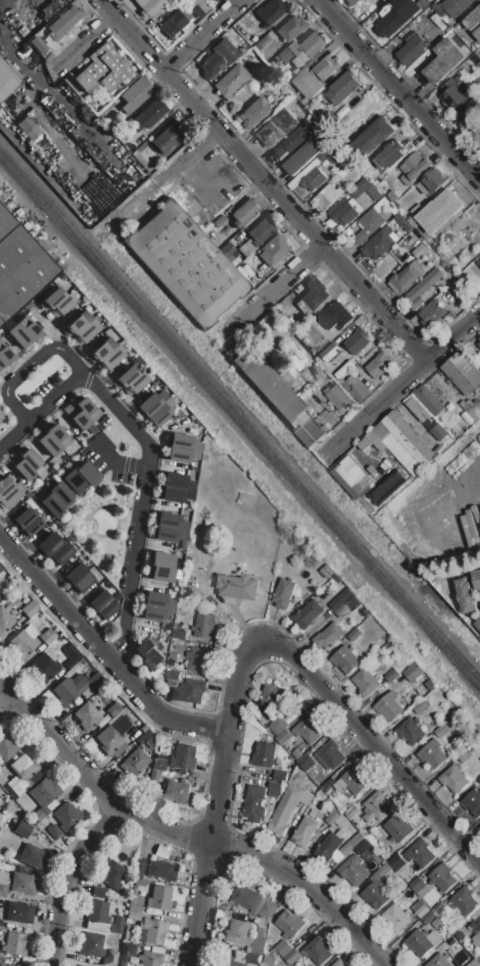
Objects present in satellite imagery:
building: (353, 2)
building: (455, 6)
building: (149, 7)
building: (198, 7)
building: (270, 12)
building: (473, 18)
building: (387, 21)
building: (64, 22)
building: (175, 22)
building: (290, 29)
building: (477, 33)
road: (204, 35)
road: (94, 39)
building: (263, 41)
building: (312, 43)
building: (412, 50)
building: (444, 60)
building: (211, 66)
building: (325, 68)
building: (103, 70)
building: (231, 80)
building: (7, 81)
building: (308, 83)
building: (343, 87)
road: (399, 88)
building: (453, 94)
building: (135, 95)
building: (471, 111)
building: (152, 113)
building: (255, 113)
building: (29, 127)
building: (278, 128)
building: (477, 135)
building: (168, 137)
building: (372, 137)
building: (292, 142)
building: (329, 154)
building: (390, 155)
building: (302, 157)
building: (416, 165)
road: (166, 178)
building: (312, 179)
road: (263, 180)
building: (431, 181)
building: (359, 188)
building: (392, 195)
building: (326, 196)
building: (440, 211)
building: (244, 212)
building: (342, 212)
building: (218, 222)
building: (405, 223)
building: (369, 224)
building: (261, 230)
building: (378, 243)
building: (397, 250)
building: (420, 250)
building: (272, 251)
building: (228, 252)
building: (478, 261)
building: (185, 262)
building: (20, 267)
building: (406, 277)
building: (422, 288)
road: (277, 289)
building: (314, 293)
building: (57, 302)
building: (432, 313)
building: (334, 316)
building: (82, 328)
building: (25, 332)
building: (479, 338)
building: (356, 341)
building: (479, 344)
building: (331, 350)
building: (106, 354)
building: (6, 358)
building: (323, 362)
building: (375, 362)
road: (29, 365)
railway: (191, 366)
building: (344, 369)
building: (296, 371)
building: (462, 372)
building: (130, 380)
road: (404, 382)
building: (354, 388)
building: (476, 393)
building: (278, 396)
building: (339, 398)
building: (428, 399)
road: (53, 400)
building: (417, 407)
building: (472, 409)
building: (151, 410)
building: (80, 413)
building: (1, 417)
building: (467, 421)
building: (430, 422)
building: (458, 429)
building: (439, 432)
road: (12, 434)
building: (412, 435)
building: (52, 438)
building: (368, 441)
building: (406, 441)
building: (380, 445)
building: (180, 448)
building: (397, 448)
road: (115, 462)
building: (26, 463)
building: (351, 477)
building: (81, 478)
building: (388, 487)
building: (175, 489)
building: (8, 494)
building: (57, 500)
building: (245, 500)
road: (139, 513)
building: (27, 523)
building: (205, 524)
building: (169, 526)
building: (183, 545)
building: (54, 550)
building: (160, 567)
building: (77, 579)
building: (477, 580)
building: (238, 586)
building: (284, 594)
building: (0, 595)
building: (466, 596)
building: (339, 600)
building: (102, 605)
building: (155, 606)
building: (30, 610)
building: (340, 610)
building: (308, 613)
building: (5, 620)
building: (478, 625)
building: (205, 626)
building: (154, 629)
railway: (431, 632)
building: (179, 634)
building: (354, 634)
building: (329, 635)
building: (48, 637)
building: (24, 642)
building: (174, 649)
road: (103, 654)
building: (148, 654)
building: (70, 655)
building: (174, 655)
building: (345, 658)
building: (198, 659)
building: (44, 667)
building: (412, 671)
building: (172, 675)
building: (391, 675)
building: (365, 682)
building: (77, 687)
building: (189, 691)
building: (275, 696)
road: (3, 698)
building: (389, 706)
building: (419, 707)
building: (113, 709)
building: (87, 716)
building: (269, 718)
building: (278, 725)
building: (143, 728)
building: (309, 729)
building: (410, 730)
building: (441, 730)
building: (113, 737)
building: (285, 738)
road: (373, 746)
building: (6, 747)
building: (432, 753)
building: (265, 754)
building: (463, 754)
building: (331, 755)
building: (182, 757)
building: (134, 762)
building: (158, 763)
building: (22, 776)
building: (280, 776)
building: (153, 777)
building: (454, 778)
building: (2, 779)
building: (355, 780)
building: (478, 780)
building: (274, 789)
building: (177, 791)
building: (44, 798)
road: (217, 798)
building: (472, 802)
building: (255, 803)
building: (376, 806)
building: (288, 807)
building: (352, 811)
building: (67, 816)
building: (332, 817)
building: (340, 819)
building: (397, 827)
building: (23, 829)
building: (54, 832)
building: (305, 832)
road: (187, 835)
building: (351, 845)
building: (328, 847)
building: (420, 853)
building: (32, 857)
building: (396, 861)
building: (139, 869)
building: (354, 870)
building: (161, 871)
building: (111, 875)
building: (442, 877)
road: (66, 879)
building: (24, 884)
building: (139, 884)
building: (420, 887)
building: (377, 888)
building: (3, 889)
building: (98, 892)
building: (160, 898)
building: (252, 901)
building: (464, 901)
building: (136, 903)
building: (420, 908)
building: (97, 912)
building: (20, 913)
building: (133, 916)
building: (396, 916)
building: (428, 918)
building: (0, 923)
building: (290, 924)
building: (117, 925)
building: (476, 926)
building: (97, 927)
building: (238, 930)
building: (155, 933)
building: (259, 937)
building: (423, 941)
building: (14, 944)
building: (91, 945)
building: (283, 948)
building: (317, 950)
building: (127, 951)
building: (293, 957)
building: (111, 958)
building: (151, 958)
building: (234, 959)
building: (253, 959)
building: (269, 960)
building: (439, 960)
building: (340, 963)
building: (473, 963)
building: (4, 965)
building: (78, 965)

